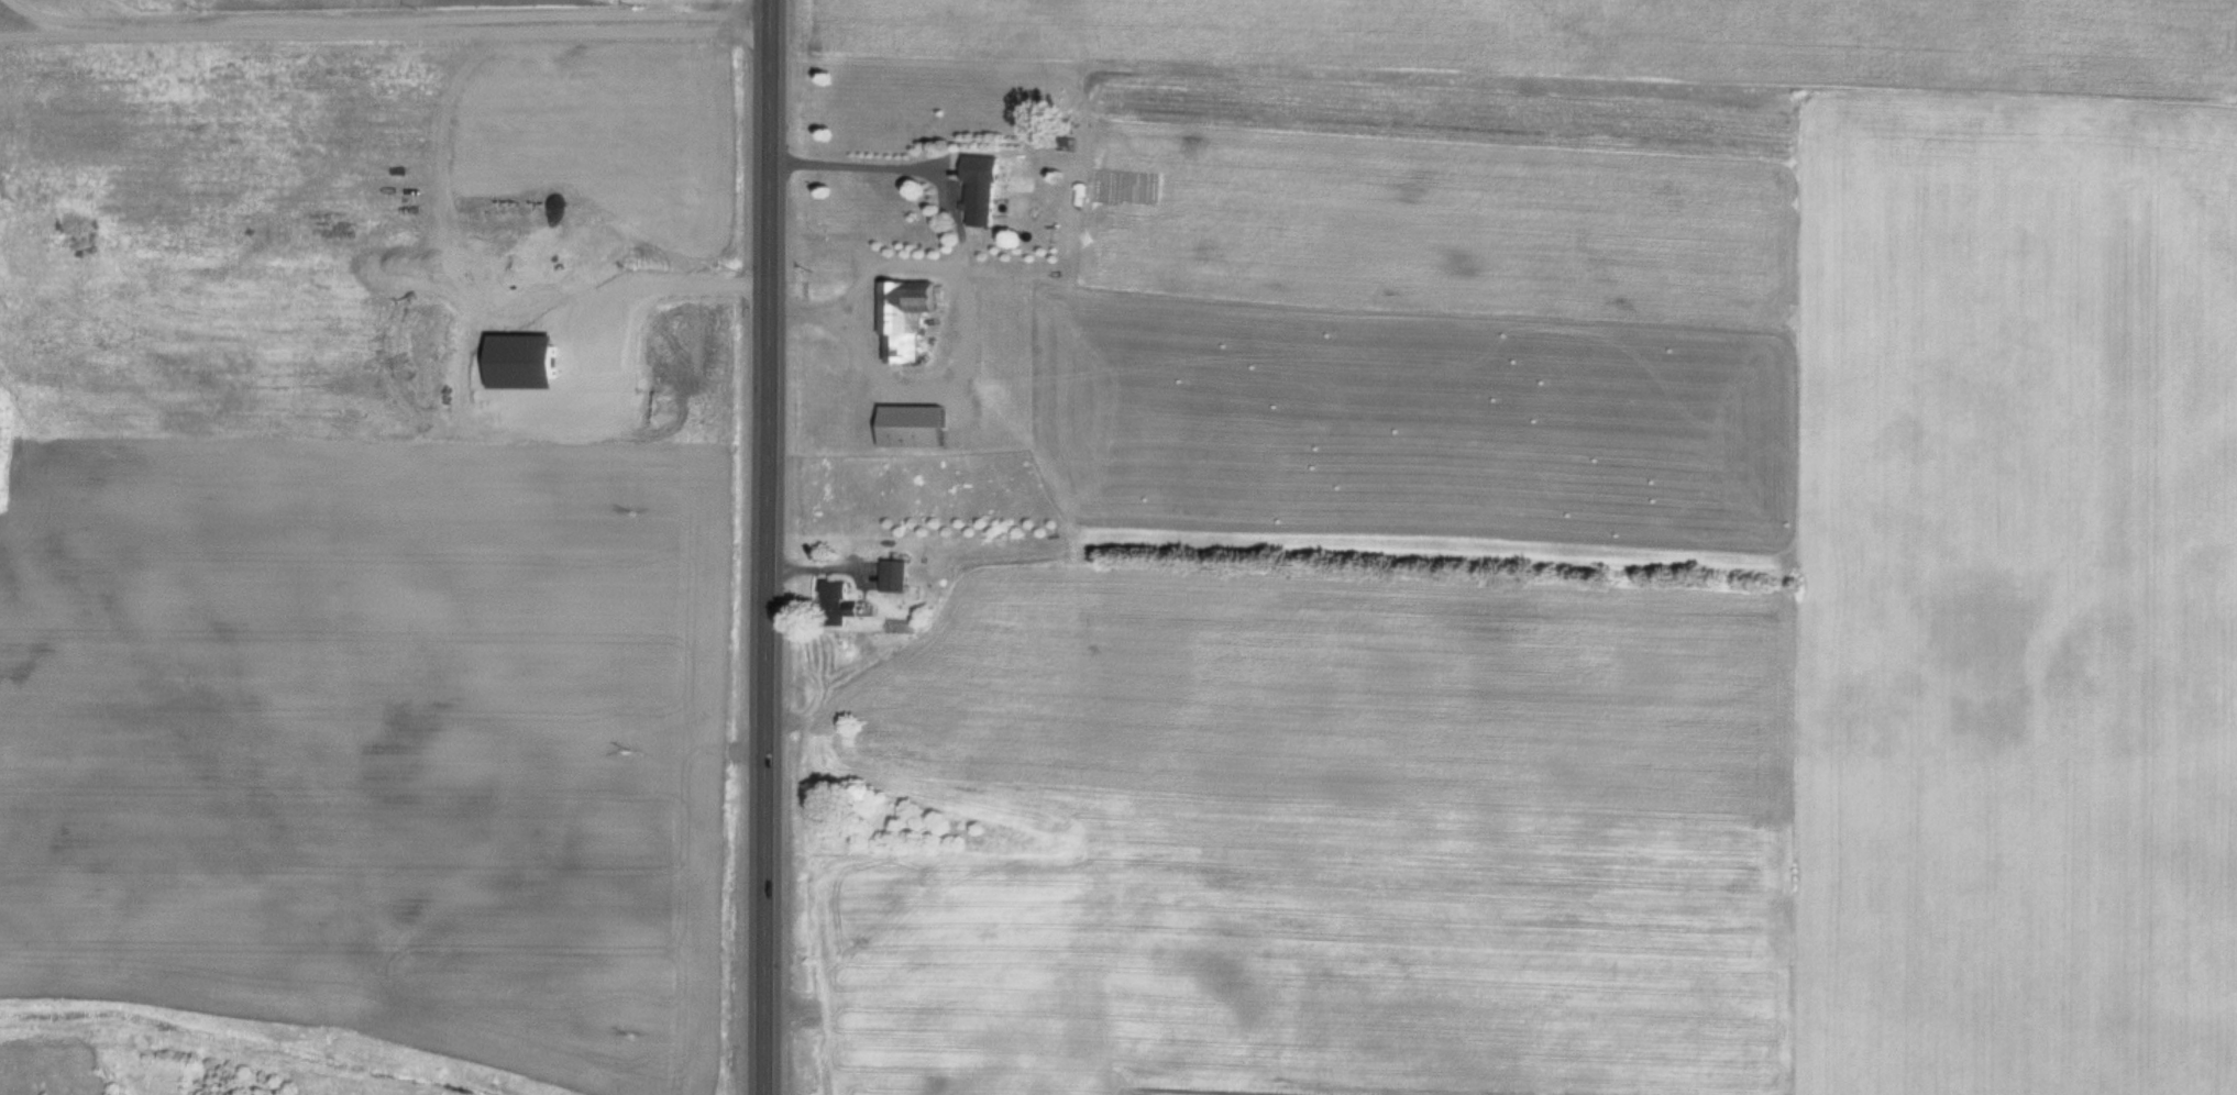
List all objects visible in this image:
building: (976, 202)
building: (901, 319)
building: (912, 422)
road: (763, 547)
building: (835, 602)

